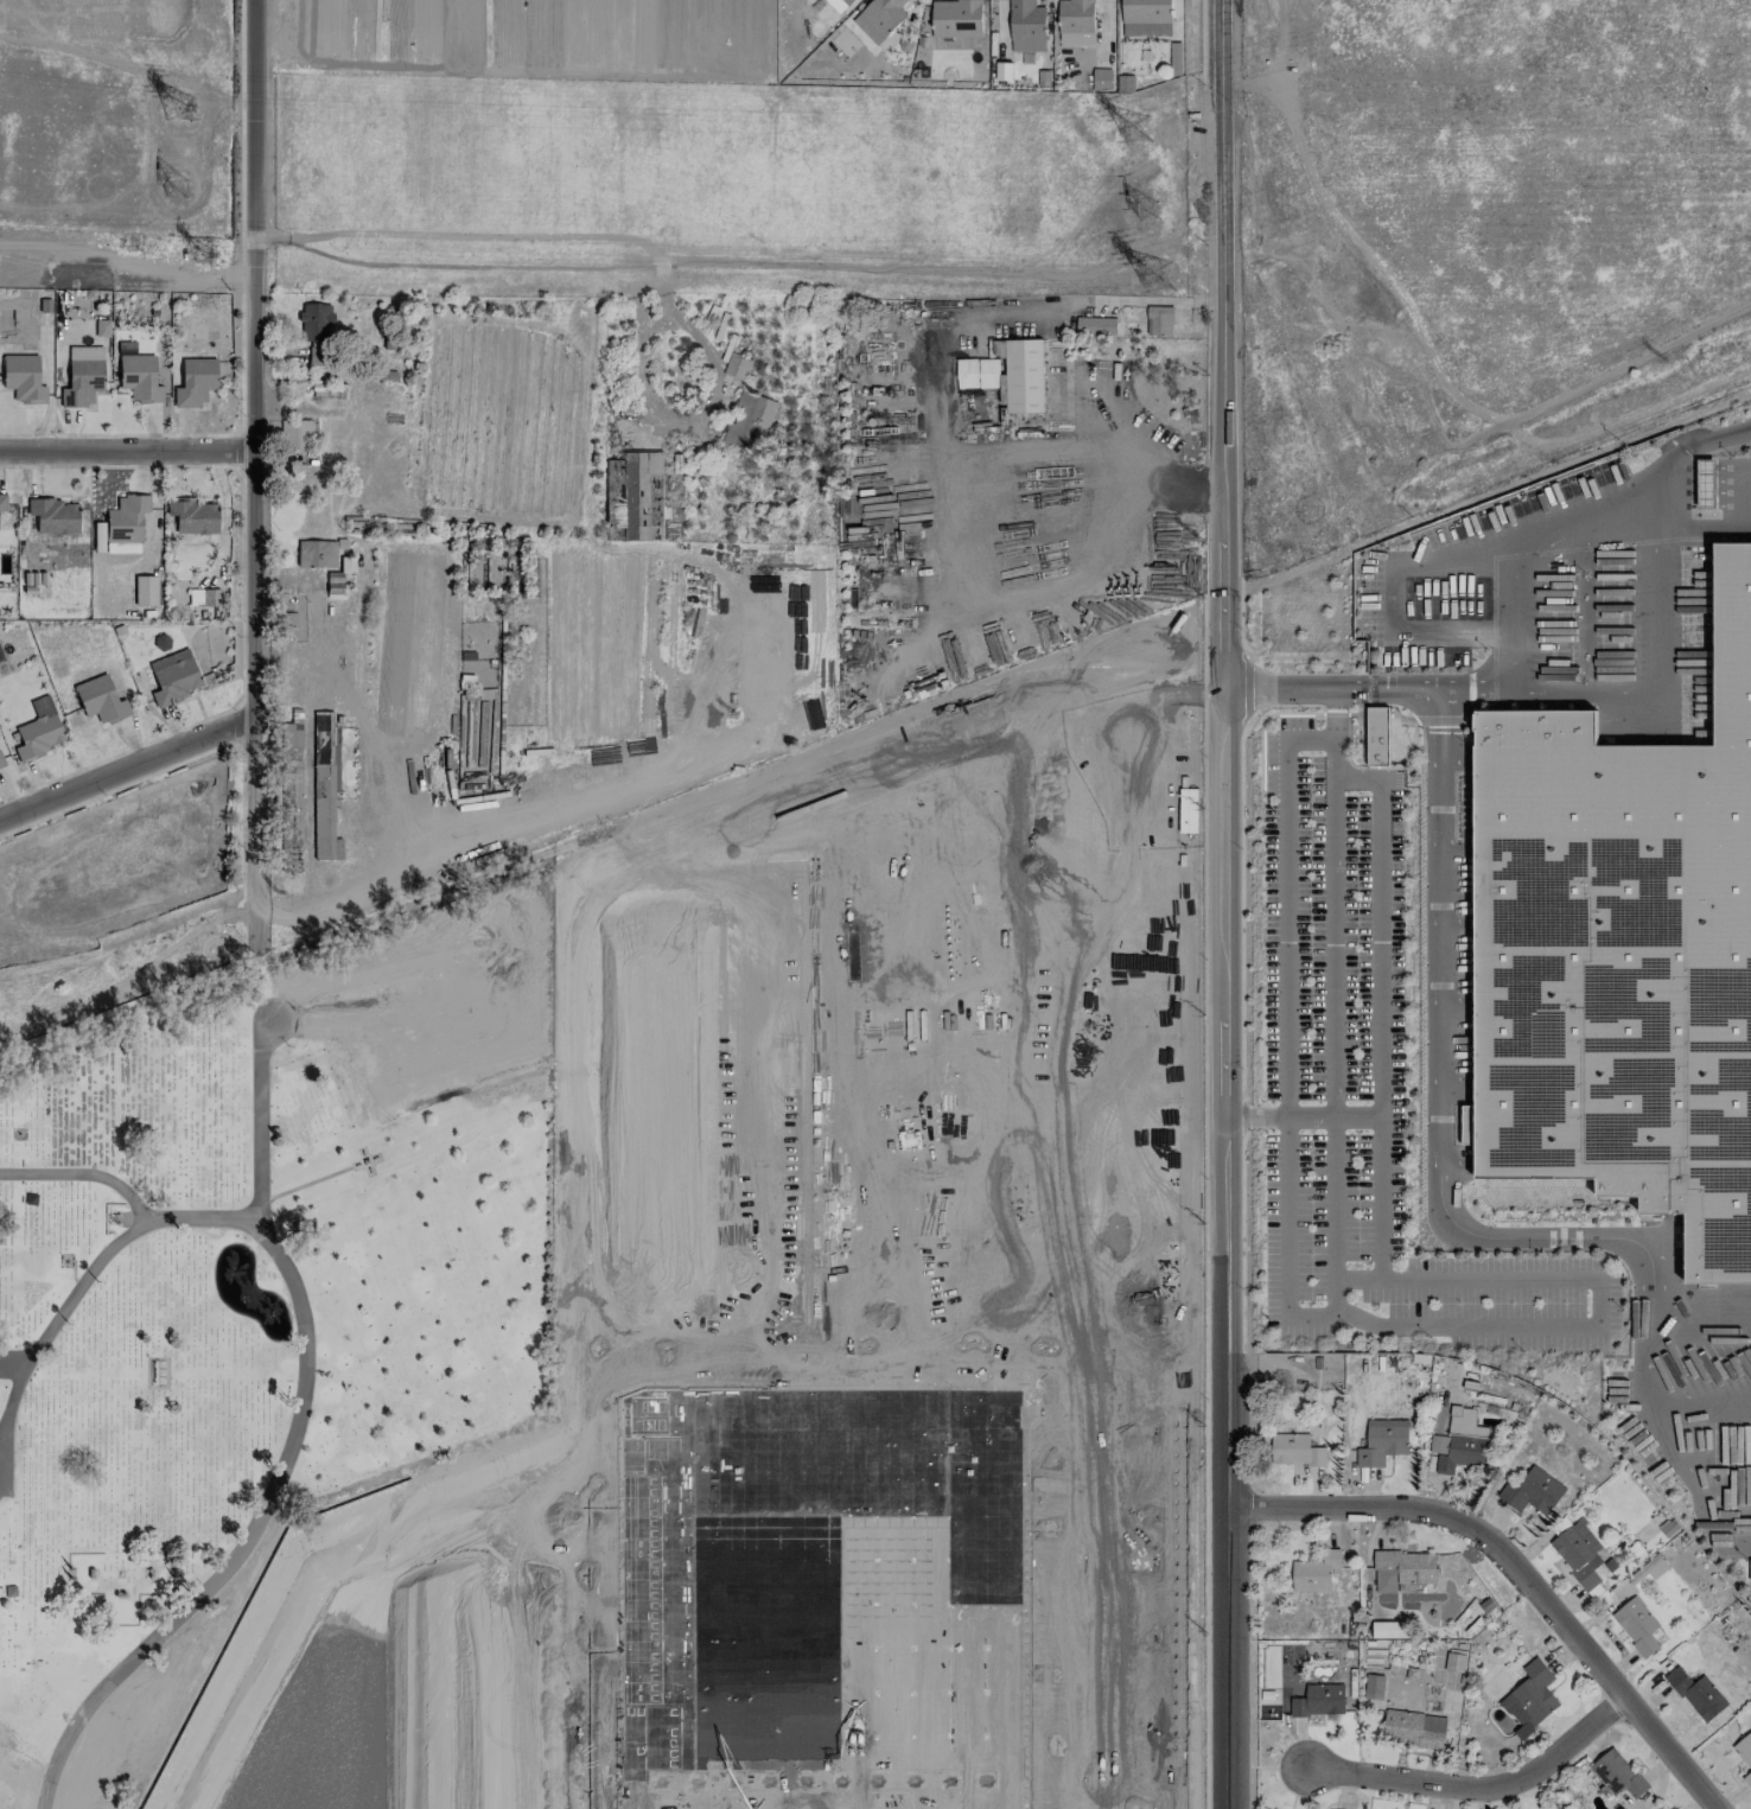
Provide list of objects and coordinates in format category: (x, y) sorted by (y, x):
building: (839, 5)
building: (956, 18)
building: (1146, 18)
building: (879, 19)
building: (1075, 23)
building: (1026, 26)
crop: (528, 32)
building: (1004, 71)
building: (1101, 79)
power tower: (178, 109)
power tower: (1138, 132)
power tower: (176, 189)
power tower: (1146, 214)
road: (633, 237)
power tower: (200, 255)
road: (126, 259)
power tower: (1155, 276)
road: (1023, 314)
building: (1159, 320)
building: (1095, 325)
building: (314, 330)
building: (737, 367)
building: (978, 374)
building: (82, 376)
building: (1024, 376)
building: (138, 377)
building: (21, 378)
building: (195, 382)
building: (327, 390)
building: (747, 420)
building: (295, 434)
road: (126, 450)
road: (1071, 452)
road: (254, 472)
building: (1705, 483)
building: (642, 495)
building: (1, 503)
building: (53, 516)
building: (192, 516)
road: (1707, 529)
road: (1559, 534)
building: (314, 553)
building: (345, 565)
building: (332, 584)
building: (145, 590)
building: (203, 595)
road: (288, 662)
road: (1657, 662)
building: (172, 676)
road: (1348, 690)
building: (100, 700)
building: (38, 731)
building: (1377, 737)
building: (1, 763)
road: (367, 763)
road: (127, 766)
road: (637, 782)
building: (323, 788)
road: (1225, 904)
building: (1623, 954)
road: (1332, 1050)
road: (1255, 1116)
road: (1330, 1116)
road: (1441, 1132)
road: (259, 1146)
road: (82, 1174)
road: (114, 1243)
park: (255, 1285)
road: (1526, 1321)
road: (12, 1364)
road: (1702, 1396)
road: (12, 1397)
road: (1667, 1438)
building: (1458, 1442)
building: (1294, 1450)
road: (9, 1472)
building: (1533, 1491)
road: (247, 1540)
building: (1578, 1553)
building: (1653, 1567)
building: (1403, 1571)
building: (1316, 1572)
road: (1521, 1575)
building: (826, 1594)
building: (1637, 1625)
building: (1390, 1630)
road: (1104, 1651)
building: (1454, 1662)
building: (1374, 1687)
building: (1534, 1693)
building: (1696, 1694)
building: (1317, 1700)
building: (1416, 1728)
building: (1744, 1754)
building: (1617, 1773)
road: (1479, 1788)

